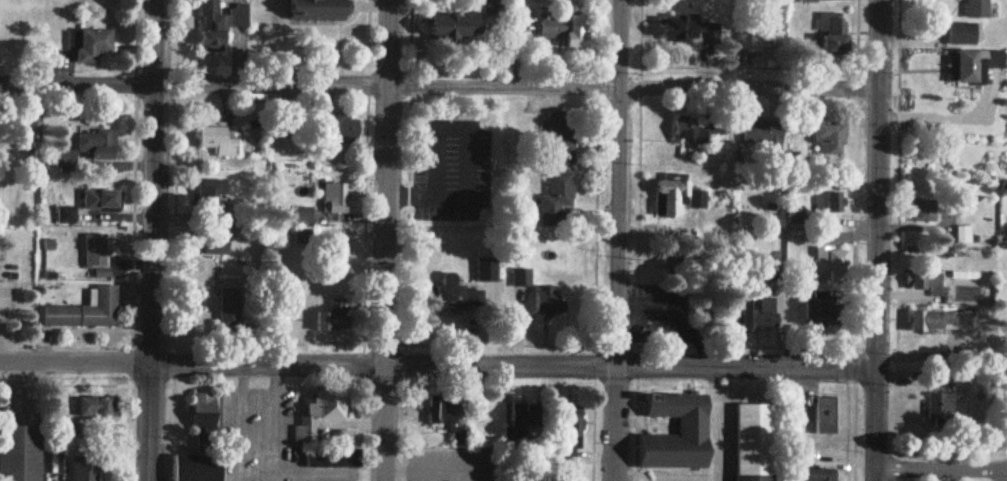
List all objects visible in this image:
building: (492, 7)
building: (976, 8)
building: (318, 9)
building: (220, 23)
building: (450, 29)
building: (566, 30)
building: (688, 30)
building: (963, 31)
building: (833, 34)
building: (759, 41)
building: (91, 45)
building: (975, 61)
road: (196, 84)
road: (635, 91)
building: (344, 130)
building: (695, 130)
building: (33, 133)
building: (762, 134)
building: (829, 138)
building: (218, 141)
building: (89, 146)
building: (561, 147)
building: (212, 191)
building: (671, 197)
building: (698, 198)
building: (557, 199)
building: (101, 200)
building: (338, 201)
building: (830, 203)
building: (923, 208)
building: (796, 215)
building: (303, 216)
building: (961, 236)
road: (153, 240)
road: (387, 240)
road: (619, 240)
road: (879, 240)
building: (216, 244)
building: (96, 254)
building: (830, 261)
building: (977, 282)
building: (926, 283)
building: (4, 296)
building: (459, 299)
building: (548, 302)
building: (229, 308)
building: (87, 312)
building: (756, 314)
building: (334, 316)
building: (829, 318)
building: (940, 322)
road: (515, 345)
road: (191, 359)
road: (630, 365)
road: (151, 386)
road: (479, 386)
building: (92, 402)
building: (940, 404)
building: (205, 409)
building: (442, 410)
road: (172, 411)
road: (364, 412)
road: (404, 412)
road: (594, 413)
road: (636, 413)
road: (856, 414)
building: (317, 415)
building: (825, 416)
road: (243, 420)
road: (277, 420)
building: (521, 421)
building: (572, 425)
building: (692, 425)
road: (129, 433)
building: (464, 434)
building: (753, 441)
building: (20, 453)
parking lot: (445, 465)
building: (197, 467)
building: (85, 468)
road: (940, 468)
road: (1005, 470)
road: (438, 472)
building: (817, 474)
road: (1004, 475)

